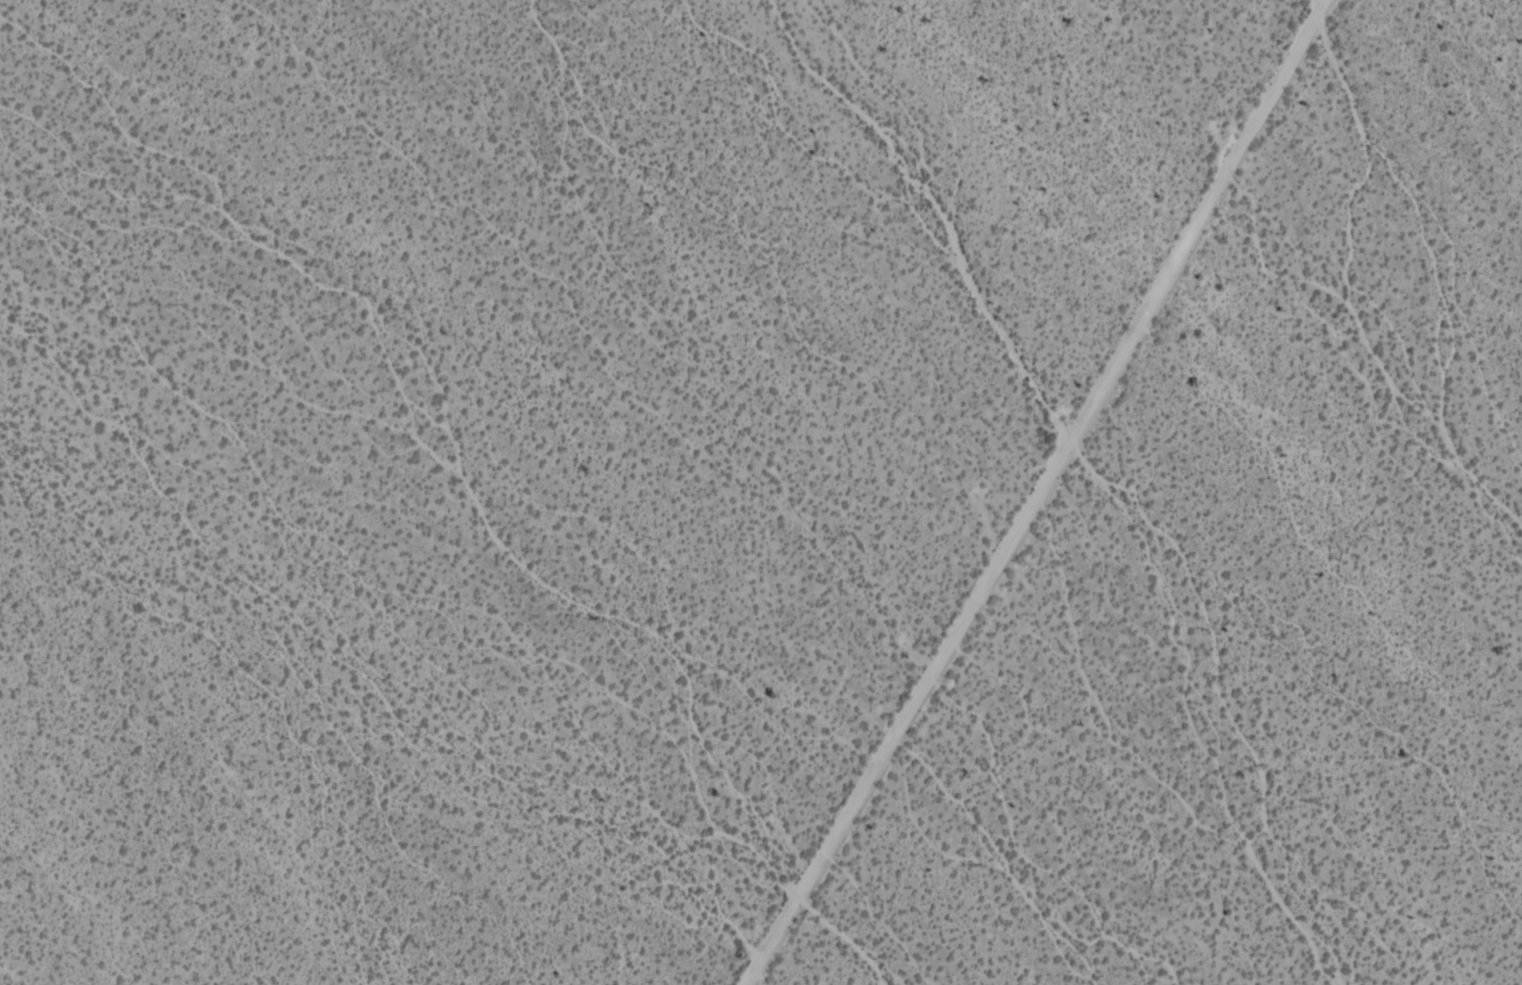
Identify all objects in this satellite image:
road: (1046, 492)

